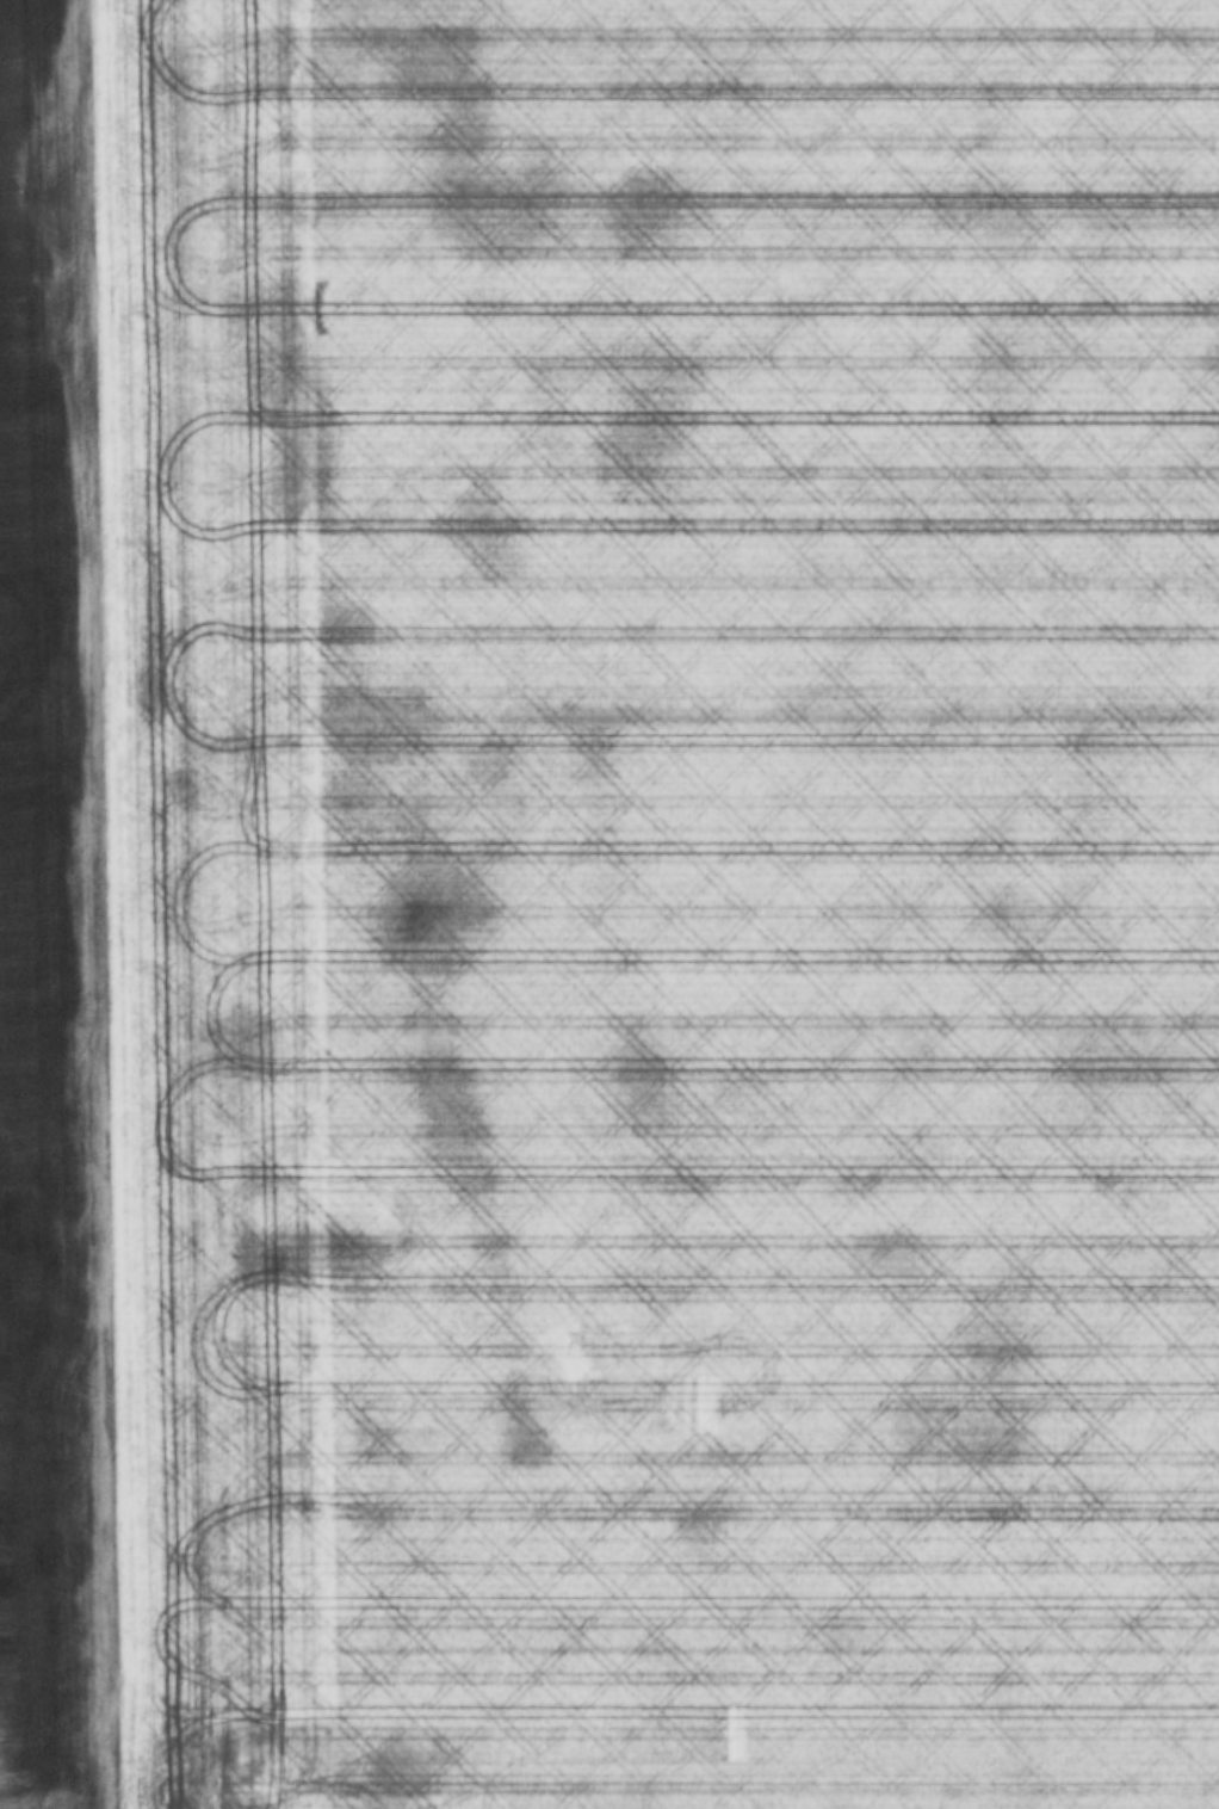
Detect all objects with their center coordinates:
crop: (666, 900)

